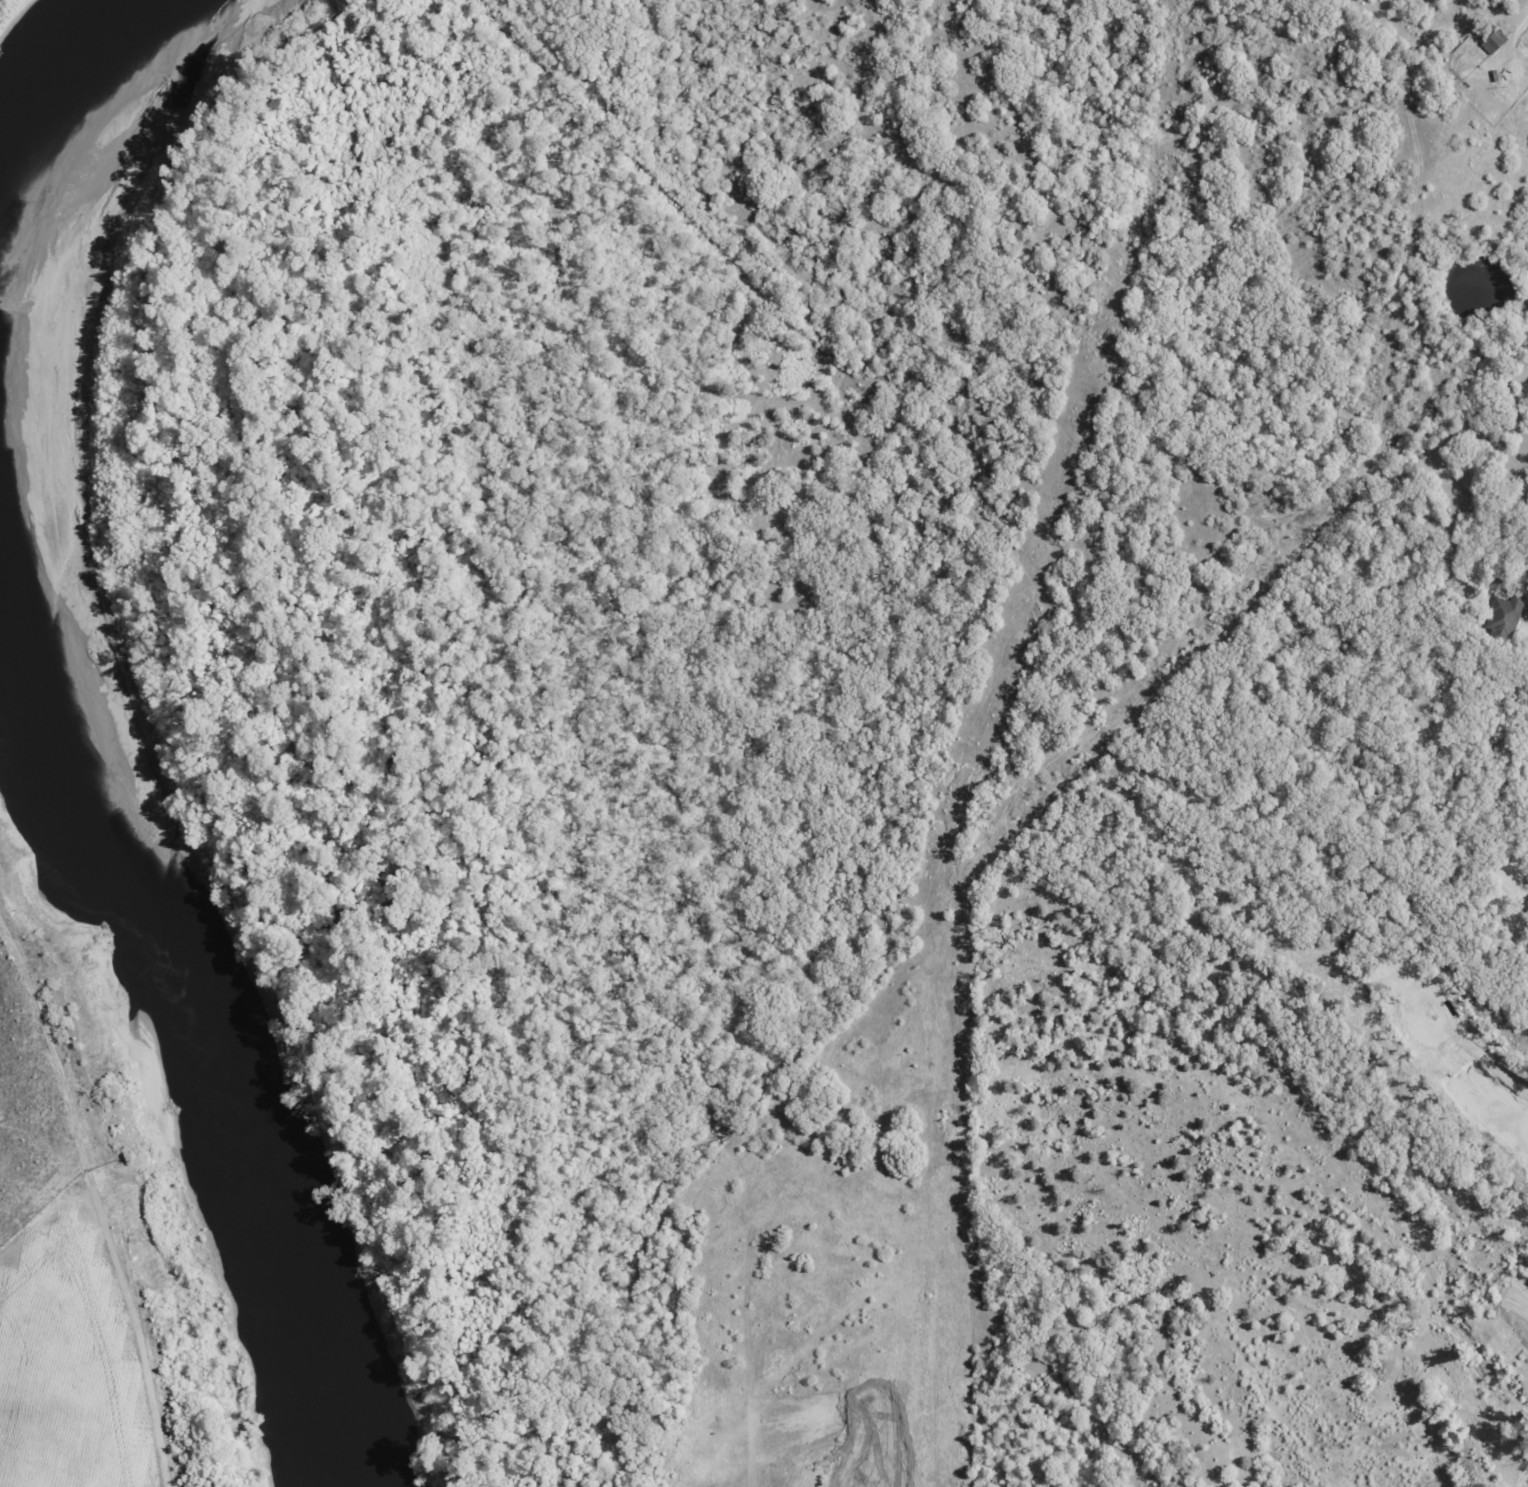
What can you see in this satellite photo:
building: (1495, 42)
river: (88, 755)
road: (95, 1198)

